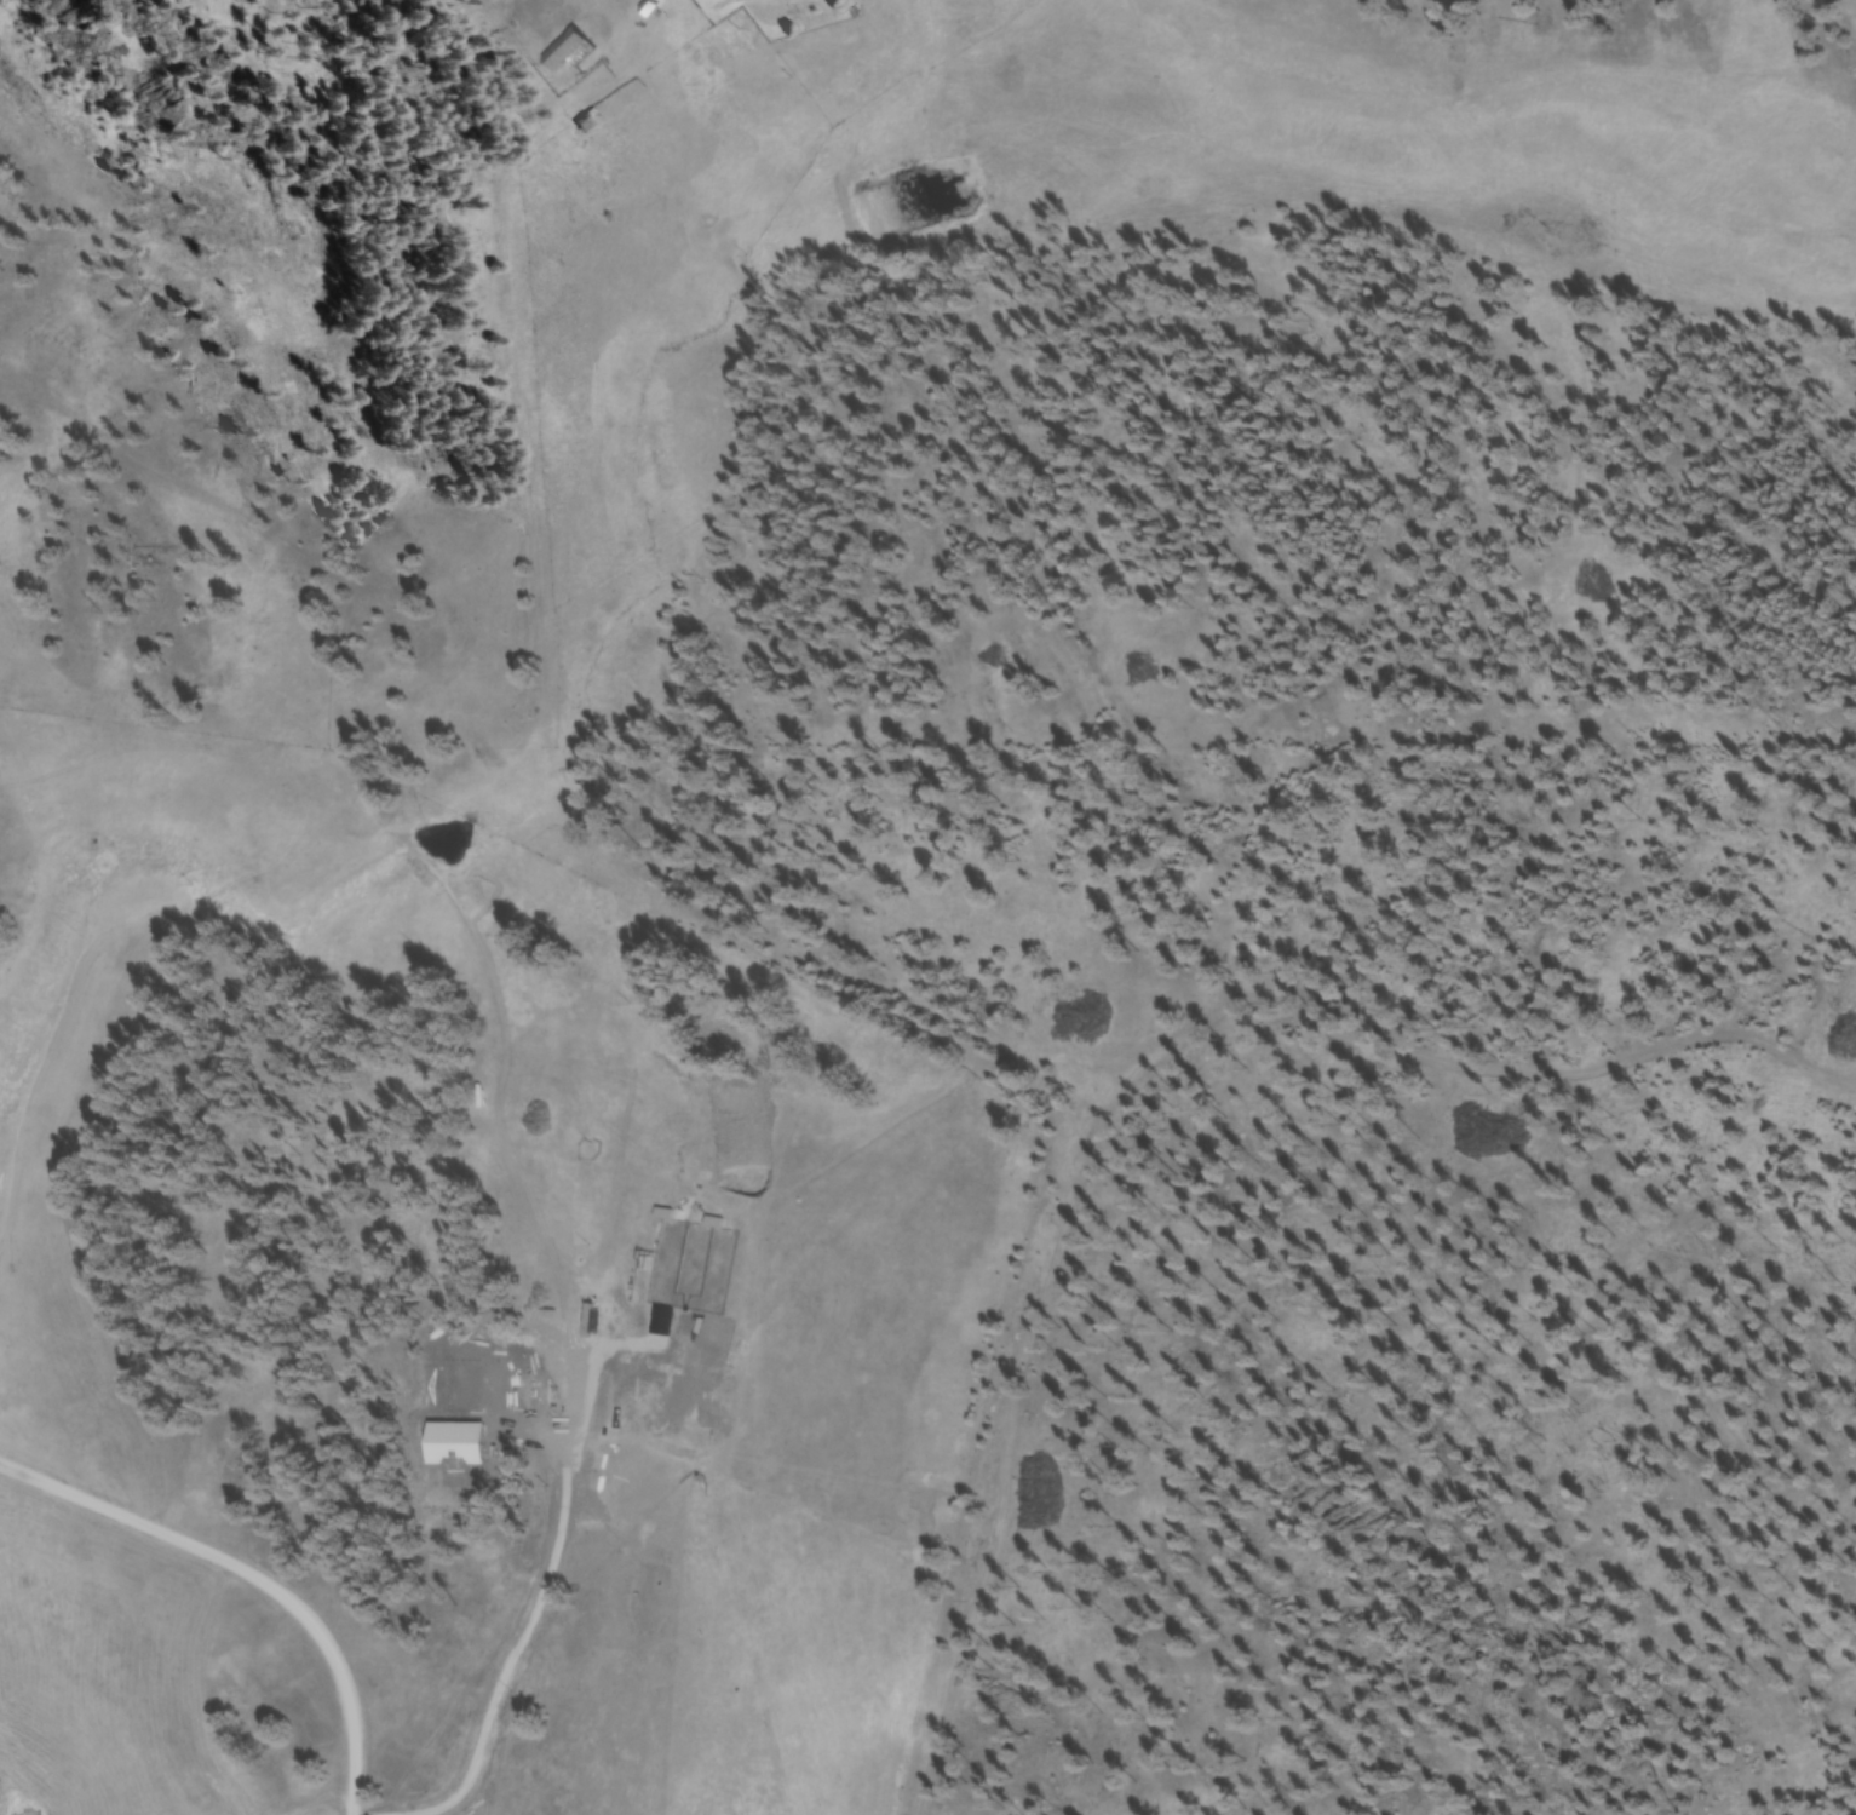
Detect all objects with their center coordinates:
building: (570, 54)
road: (1138, 1076)
road: (251, 1576)

